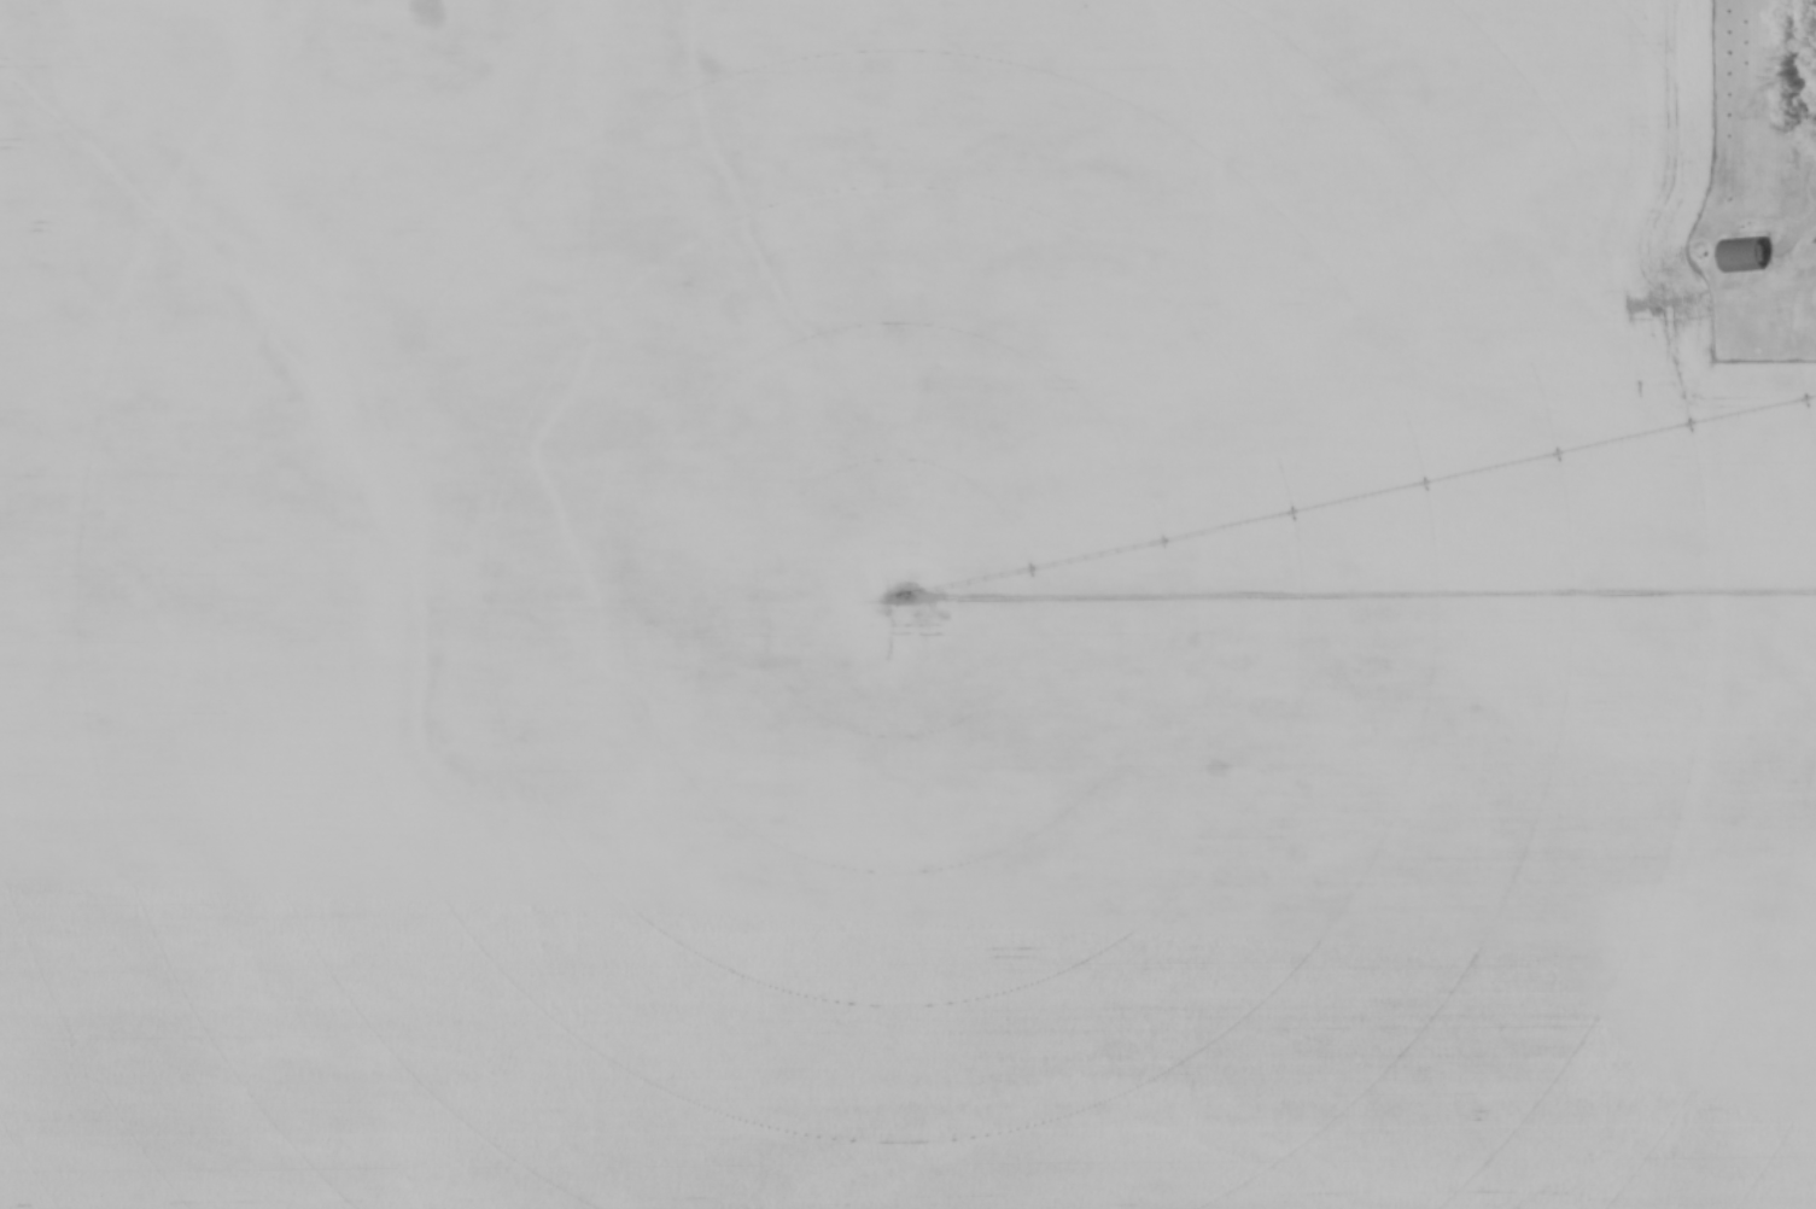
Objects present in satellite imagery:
road: (1795, 245)
building: (1692, 251)
building: (1739, 253)

